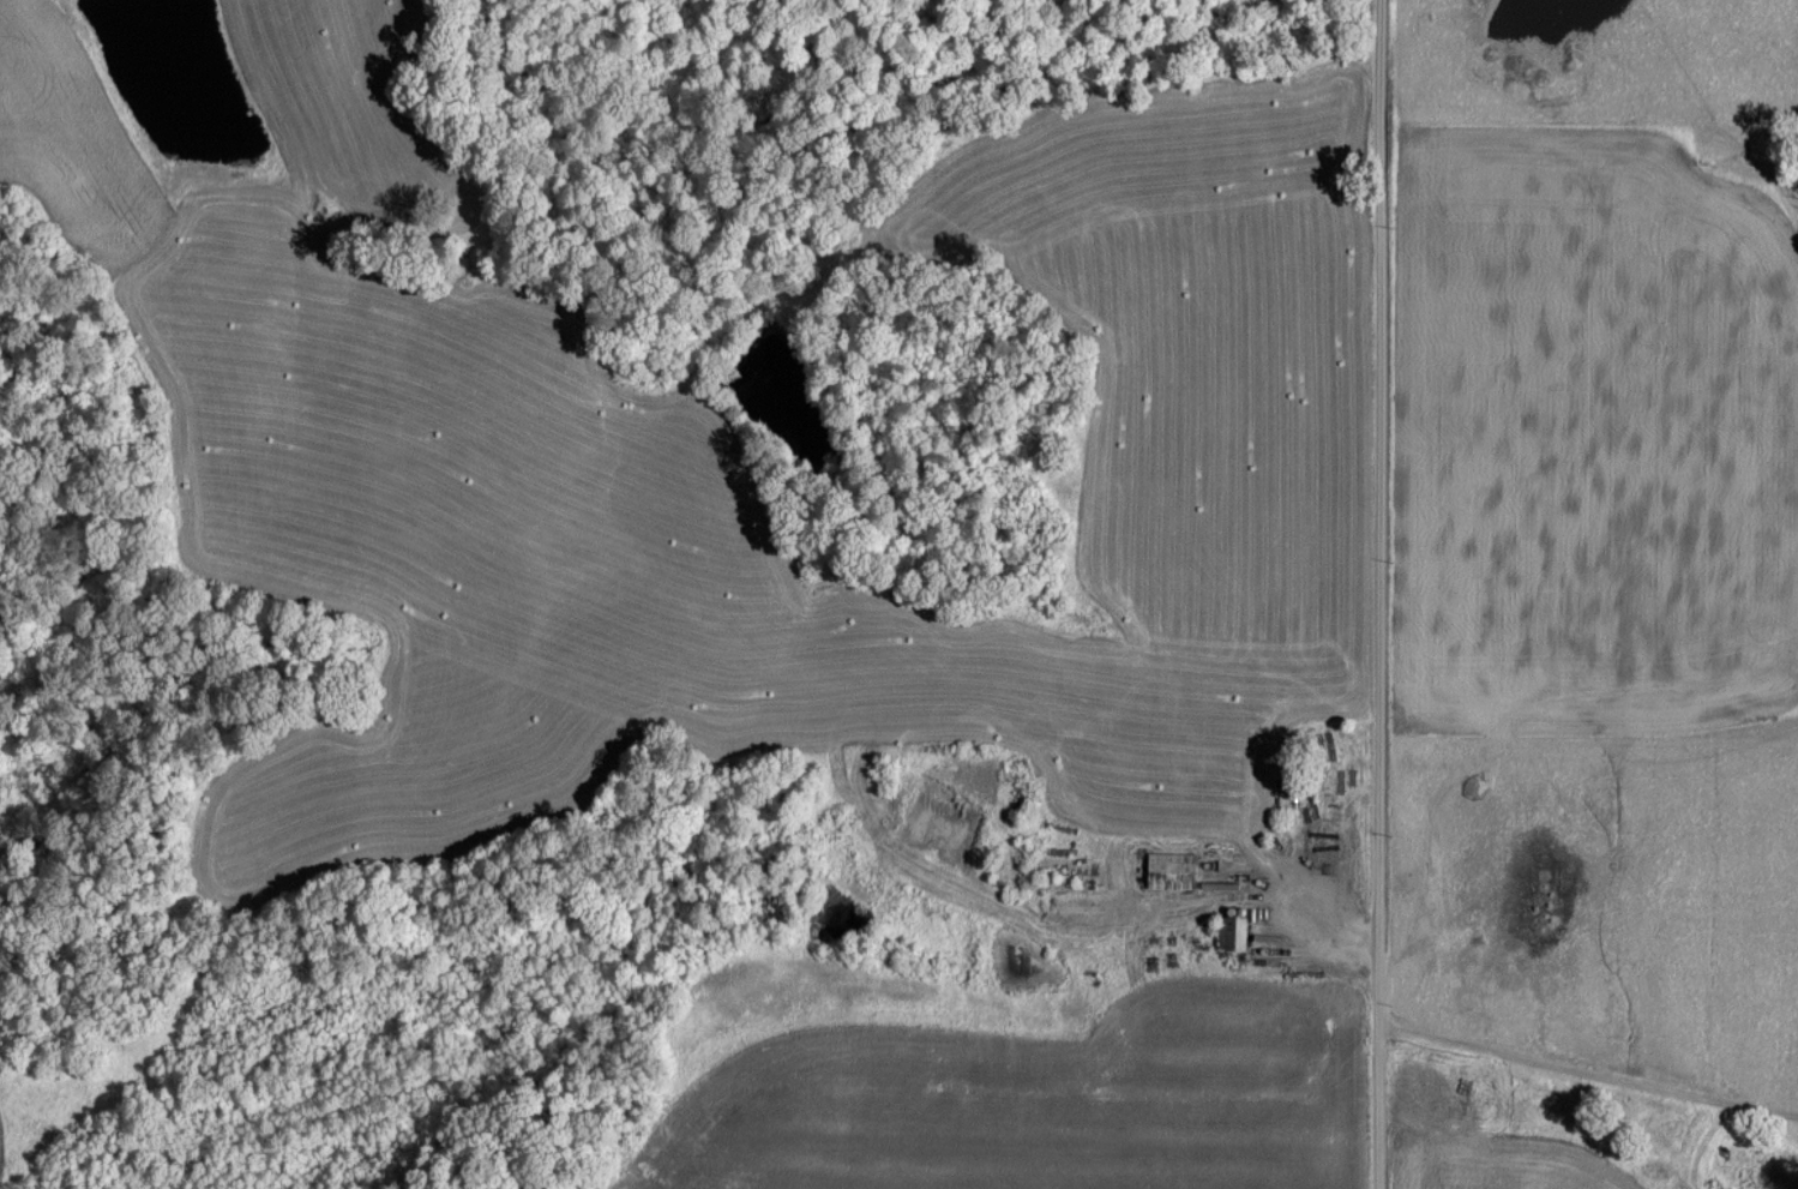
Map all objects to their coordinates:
road: (1383, 594)
building: (1169, 870)
road: (1589, 1074)

